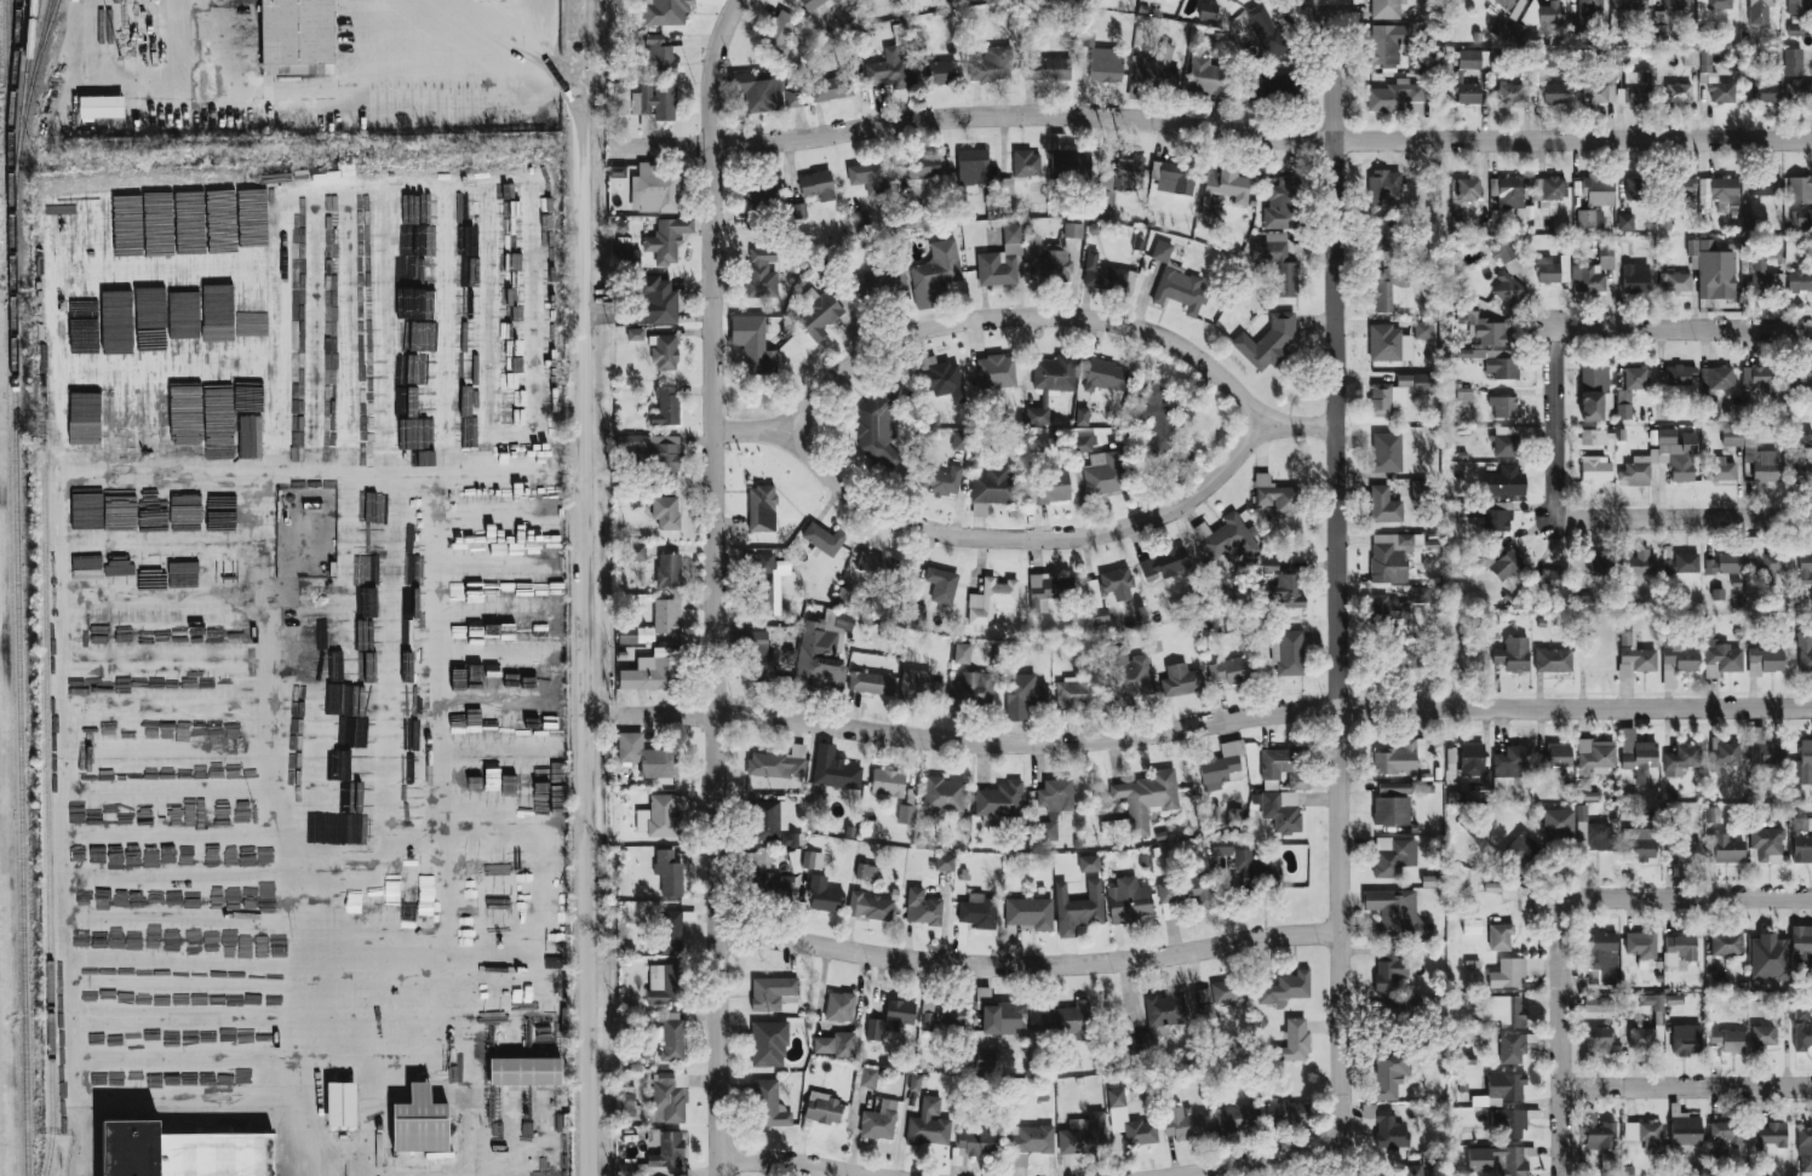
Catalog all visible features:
building: (1237, 0)
building: (1506, 2)
building: (1628, 4)
building: (816, 5)
building: (1675, 5)
building: (1760, 5)
building: (1799, 6)
building: (1709, 8)
building: (1384, 10)
building: (1208, 11)
building: (1587, 11)
building: (665, 12)
building: (1550, 12)
building: (1531, 16)
building: (1500, 29)
building: (1795, 29)
building: (1661, 31)
road: (494, 33)
road: (539, 33)
building: (780, 33)
building: (1267, 33)
railway: (29, 35)
building: (296, 36)
railway: (40, 42)
building: (1388, 42)
building: (658, 52)
road: (580, 56)
building: (1690, 57)
building: (1776, 58)
building: (1473, 59)
building: (1548, 59)
building: (1793, 62)
building: (991, 64)
building: (1106, 64)
building: (1047, 68)
building: (1158, 68)
building: (889, 70)
building: (944, 71)
railway: (13, 73)
building: (1205, 75)
building: (1605, 78)
railway: (25, 80)
building: (1714, 80)
building: (1268, 85)
road: (562, 87)
building: (830, 87)
building: (1636, 87)
building: (759, 88)
building: (1761, 88)
road: (268, 90)
building: (1467, 91)
building: (1799, 91)
building: (1676, 92)
building: (1508, 93)
building: (1554, 93)
building: (1393, 96)
building: (792, 97)
building: (654, 102)
building: (101, 107)
railway: (23, 119)
building: (647, 122)
road: (1209, 128)
building: (1068, 160)
building: (1026, 164)
building: (923, 166)
building: (971, 166)
building: (868, 177)
building: (1175, 178)
building: (1120, 179)
building: (816, 185)
building: (1765, 185)
building: (1383, 187)
building: (1682, 187)
building: (1225, 189)
building: (1467, 189)
building: (1595, 189)
building: (1636, 189)
building: (654, 190)
building: (1800, 190)
building: (1507, 191)
building: (1548, 193)
building: (1720, 193)
road: (487, 196)
building: (219, 199)
building: (757, 199)
building: (188, 200)
building: (1281, 205)
building: (121, 208)
building: (252, 210)
building: (799, 210)
building: (1589, 218)
building: (860, 219)
building: (1801, 219)
building: (69, 222)
building: (1624, 222)
building: (1073, 230)
building: (1386, 236)
building: (222, 237)
building: (667, 239)
building: (1621, 247)
building: (625, 249)
building: (1160, 251)
building: (1506, 257)
building: (1000, 262)
building: (1277, 262)
road: (168, 266)
building: (1050, 266)
building: (1611, 266)
building: (1714, 268)
building: (424, 269)
building: (1765, 269)
building: (1553, 270)
building: (761, 274)
building: (935, 274)
building: (1106, 276)
building: (472, 279)
building: (1800, 280)
building: (1675, 282)
building: (881, 285)
building: (1508, 288)
building: (1180, 291)
building: (1390, 291)
building: (655, 300)
building: (369, 305)
building: (463, 309)
building: (419, 315)
building: (819, 316)
road: (1021, 316)
building: (137, 319)
building: (1485, 328)
road: (1681, 328)
building: (1423, 329)
building: (635, 334)
building: (1268, 342)
building: (1388, 343)
building: (752, 344)
building: (664, 351)
building: (1501, 363)
building: (996, 372)
building: (423, 375)
building: (1106, 375)
building: (1678, 375)
building: (940, 378)
building: (1635, 378)
building: (1760, 379)
building: (1801, 380)
building: (1050, 384)
building: (1714, 388)
building: (1398, 392)
building: (1594, 394)
building: (1623, 405)
building: (666, 407)
building: (1506, 407)
building: (1158, 414)
building: (1082, 417)
building: (116, 421)
road: (1550, 424)
building: (877, 426)
building: (222, 429)
building: (1594, 436)
building: (1804, 437)
building: (962, 440)
building: (1085, 442)
building: (1506, 446)
building: (653, 452)
building: (1386, 452)
building: (1753, 453)
building: (423, 458)
building: (1663, 459)
building: (1800, 466)
building: (1595, 467)
building: (1720, 470)
building: (1105, 472)
building: (941, 480)
building: (1503, 481)
building: (1048, 487)
building: (992, 489)
building: (1421, 489)
building: (1279, 497)
building: (85, 505)
building: (119, 505)
building: (1383, 505)
building: (761, 509)
building: (665, 512)
building: (1489, 516)
road: (1681, 518)
road: (1025, 537)
building: (821, 538)
building: (367, 540)
building: (1227, 540)
building: (635, 551)
building: (1390, 556)
building: (1762, 557)
building: (86, 562)
building: (1501, 562)
building: (1686, 562)
building: (1164, 564)
building: (1600, 564)
building: (1724, 564)
building: (877, 566)
building: (1635, 566)
building: (1805, 568)
building: (119, 569)
building: (412, 569)
building: (667, 570)
building: (773, 573)
building: (1553, 579)
road: (713, 584)
building: (941, 585)
road: (1336, 585)
building: (1283, 586)
railway: (17, 587)
building: (1048, 590)
building: (1106, 592)
building: (765, 595)
building: (1418, 595)
building: (991, 598)
building: (1393, 609)
building: (917, 615)
building: (654, 624)
road: (69, 639)
road: (581, 644)
building: (821, 650)
building: (1805, 650)
building: (1291, 652)
building: (962, 653)
building: (1513, 655)
building: (1719, 655)
building: (758, 656)
building: (1635, 656)
building: (1470, 660)
building: (1552, 660)
building: (1765, 661)
building: (1678, 662)
building: (1233, 670)
building: (648, 675)
building: (1125, 675)
building: (1181, 681)
building: (871, 683)
building: (919, 687)
building: (974, 688)
building: (1077, 692)
building: (1022, 695)
road: (1214, 721)
building: (1764, 748)
building: (1725, 752)
building: (1559, 755)
building: (647, 757)
building: (1399, 758)
building: (1594, 759)
building: (1680, 759)
building: (1510, 761)
building: (1640, 761)
building: (781, 762)
building: (1222, 763)
building: (1474, 763)
building: (1291, 764)
building: (1802, 764)
building: (837, 775)
building: (888, 784)
building: (941, 794)
building: (1057, 794)
building: (744, 801)
building: (1003, 801)
building: (1142, 801)
building: (1392, 804)
building: (907, 807)
building: (1283, 810)
railway: (47, 811)
building: (1581, 813)
building: (663, 815)
building: (1215, 815)
building: (1237, 816)
building: (765, 822)
building: (1558, 824)
road: (453, 826)
building: (1047, 831)
building: (1160, 834)
building: (1601, 837)
building: (791, 839)
building: (1801, 839)
road: (277, 842)
building: (1766, 844)
building: (1220, 845)
building: (1521, 848)
building: (1727, 849)
building: (1685, 851)
building: (1156, 853)
building: (1393, 856)
building: (810, 860)
building: (1143, 860)
building: (792, 861)
building: (751, 862)
building: (944, 862)
building: (1089, 862)
building: (866, 871)
building: (669, 872)
building: (1252, 874)
building: (963, 876)
building: (774, 884)
building: (1502, 889)
building: (1186, 891)
building: (821, 894)
building: (895, 895)
road: (1684, 896)
building: (1128, 900)
building: (872, 906)
building: (921, 907)
building: (1077, 908)
building: (977, 912)
building: (1028, 912)
building: (1395, 914)
building: (1472, 927)
building: (670, 931)
building: (1500, 936)
building: (1726, 942)
building: (1641, 945)
building: (1801, 947)
building: (1679, 951)
building: (1602, 958)
building: (1767, 958)
road: (1027, 966)
building: (1389, 966)
building: (1514, 971)
building: (1718, 980)
building: (664, 983)
building: (1286, 987)
building: (773, 993)
building: (1220, 997)
building: (1652, 1002)
building: (1599, 1005)
building: (839, 1006)
building: (1506, 1011)
building: (999, 1015)
building: (939, 1017)
building: (890, 1019)
building: (1068, 1020)
building: (1801, 1028)
road: (1556, 1036)
building: (671, 1037)
building: (1762, 1037)
building: (1641, 1038)
building: (1598, 1039)
building: (1685, 1039)
building: (1294, 1040)
building: (1728, 1040)
building: (768, 1044)
building: (835, 1044)
building: (425, 1046)
building: (1510, 1049)
building: (984, 1060)
building: (524, 1071)
building: (1388, 1074)
building: (868, 1077)
building: (1506, 1085)
road: (1685, 1088)
building: (669, 1097)
building: (340, 1103)
building: (769, 1105)
building: (1117, 1105)
building: (824, 1108)
building: (1288, 1112)
building: (1234, 1118)
building: (419, 1121)
building: (879, 1121)
building: (928, 1124)
building: (1181, 1124)
building: (1508, 1124)
building: (1685, 1129)
building: (1389, 1131)
building: (1598, 1132)
building: (1725, 1134)
building: (1083, 1135)
building: (1645, 1135)
building: (1771, 1136)
road: (85, 1138)
building: (1028, 1142)
building: (971, 1145)
building: (666, 1148)
building: (1805, 1148)
building: (182, 1152)
road: (1258, 1159)
building: (1479, 1159)
building: (1515, 1159)
road: (785, 1165)
building: (1412, 1170)
road: (332, 1175)

